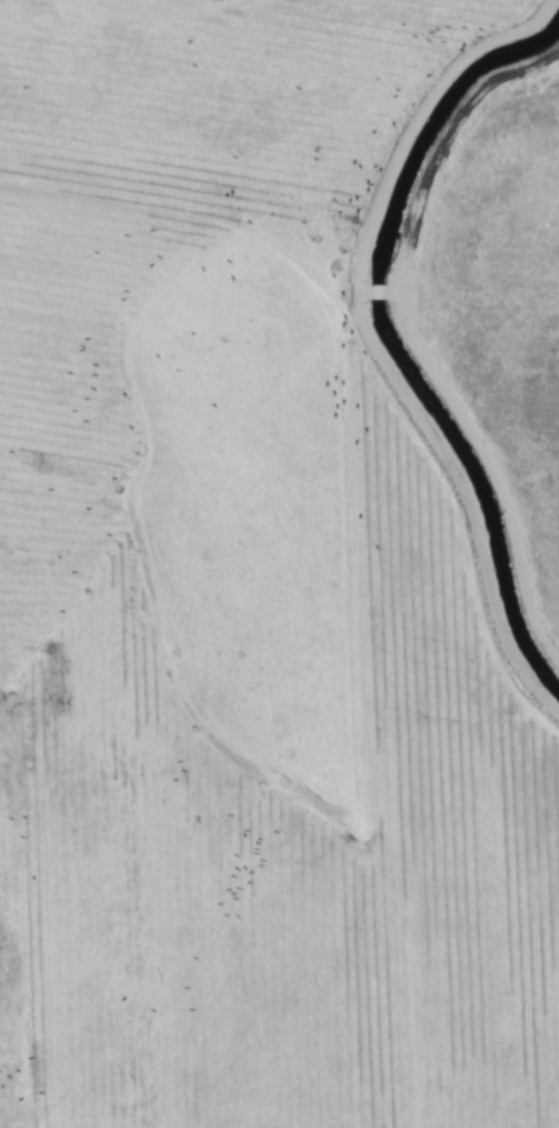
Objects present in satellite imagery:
river: (383, 333)
crop: (279, 565)

